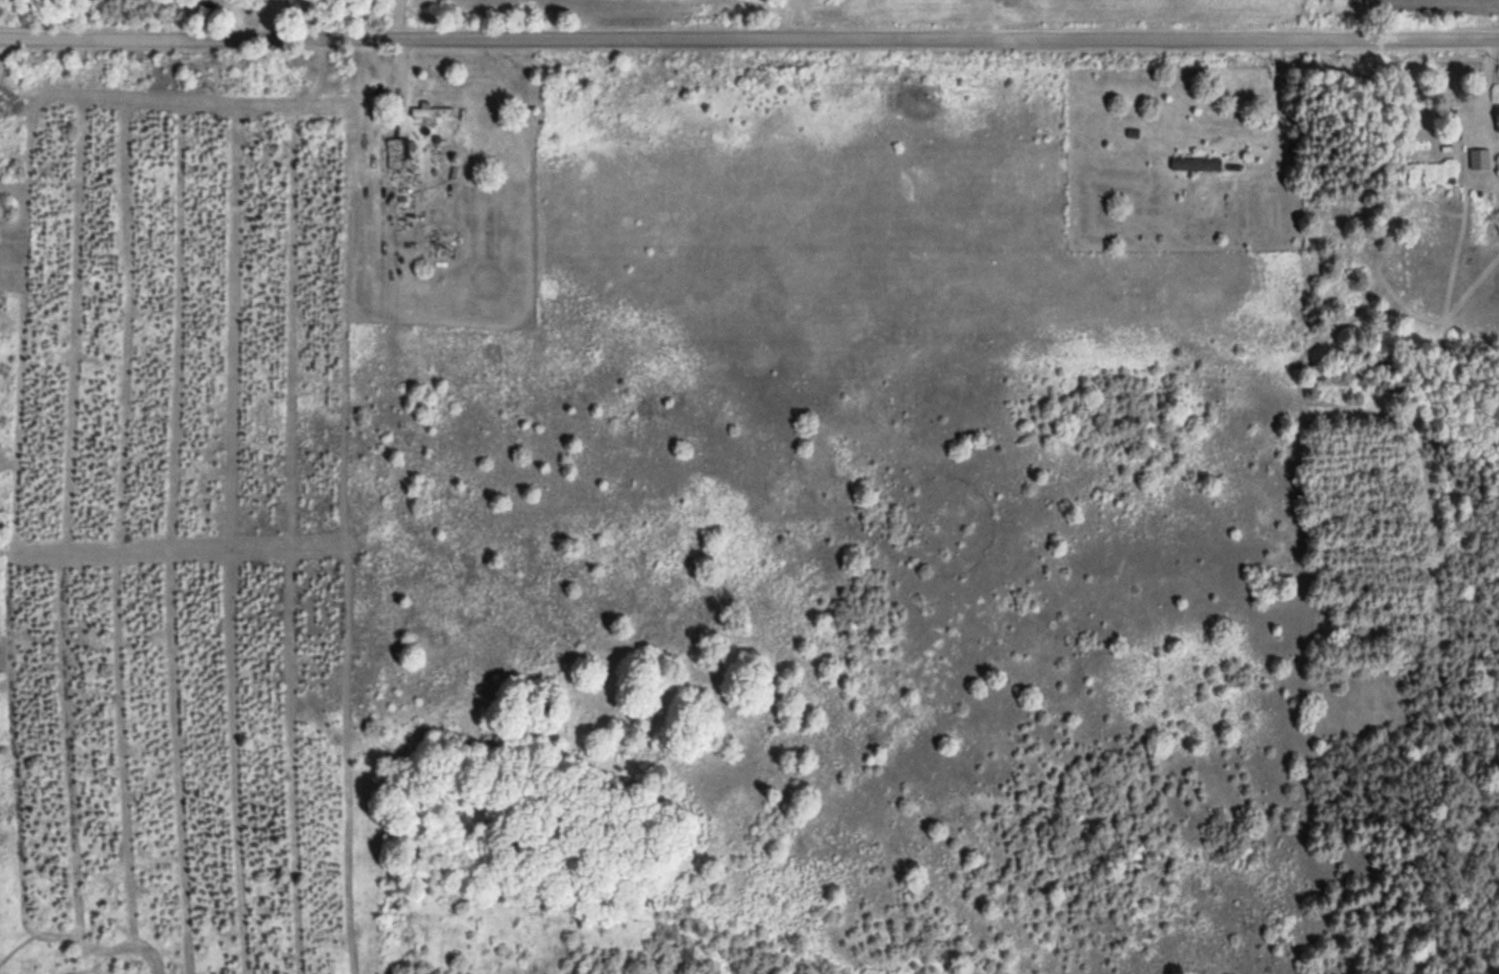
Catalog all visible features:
road: (749, 39)
building: (433, 112)
building: (1494, 116)
building: (398, 148)
building: (1477, 157)
building: (1193, 163)

